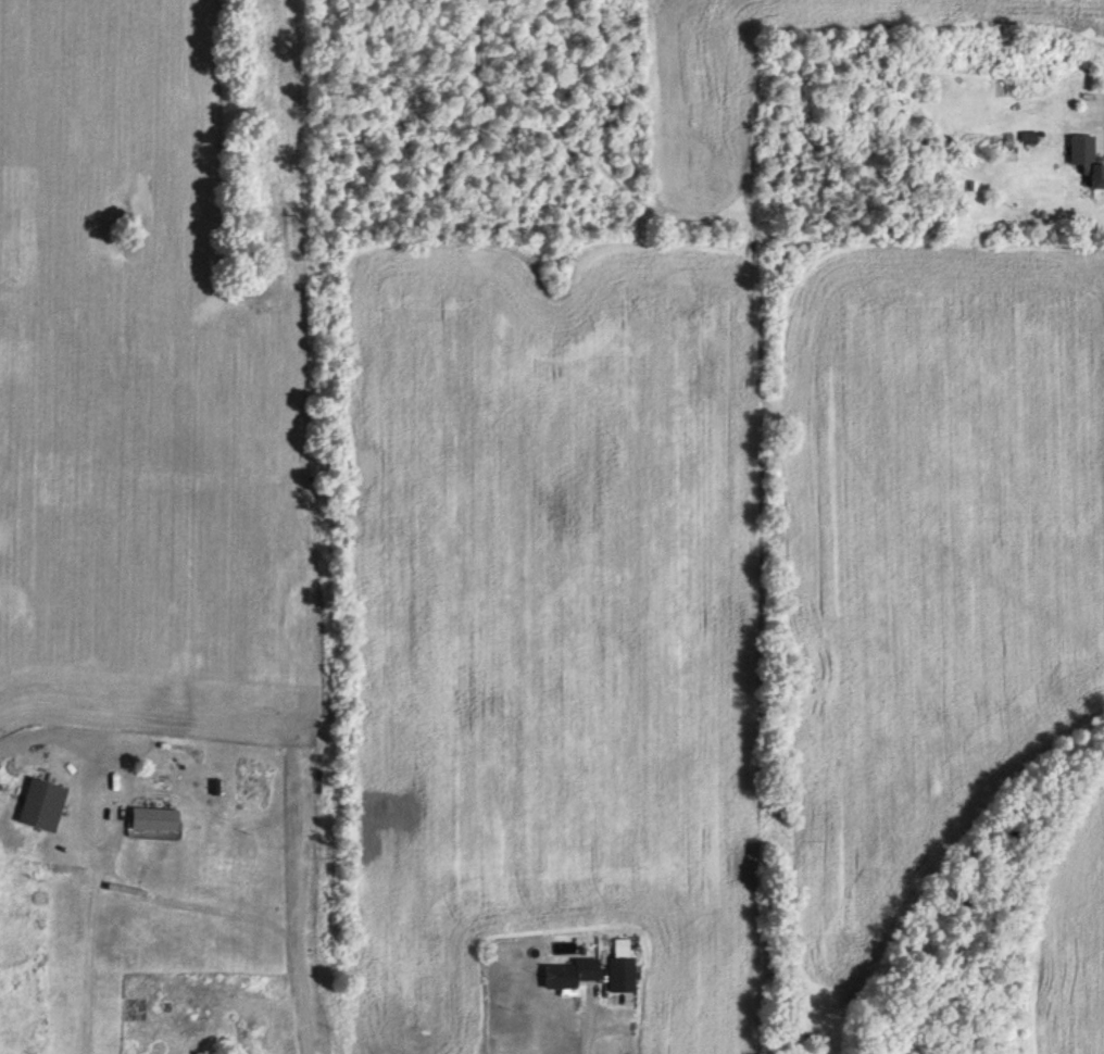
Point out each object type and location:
building: (1088, 161)
building: (41, 805)
building: (155, 820)
road: (87, 955)
building: (572, 976)
building: (622, 976)
road: (581, 1033)

